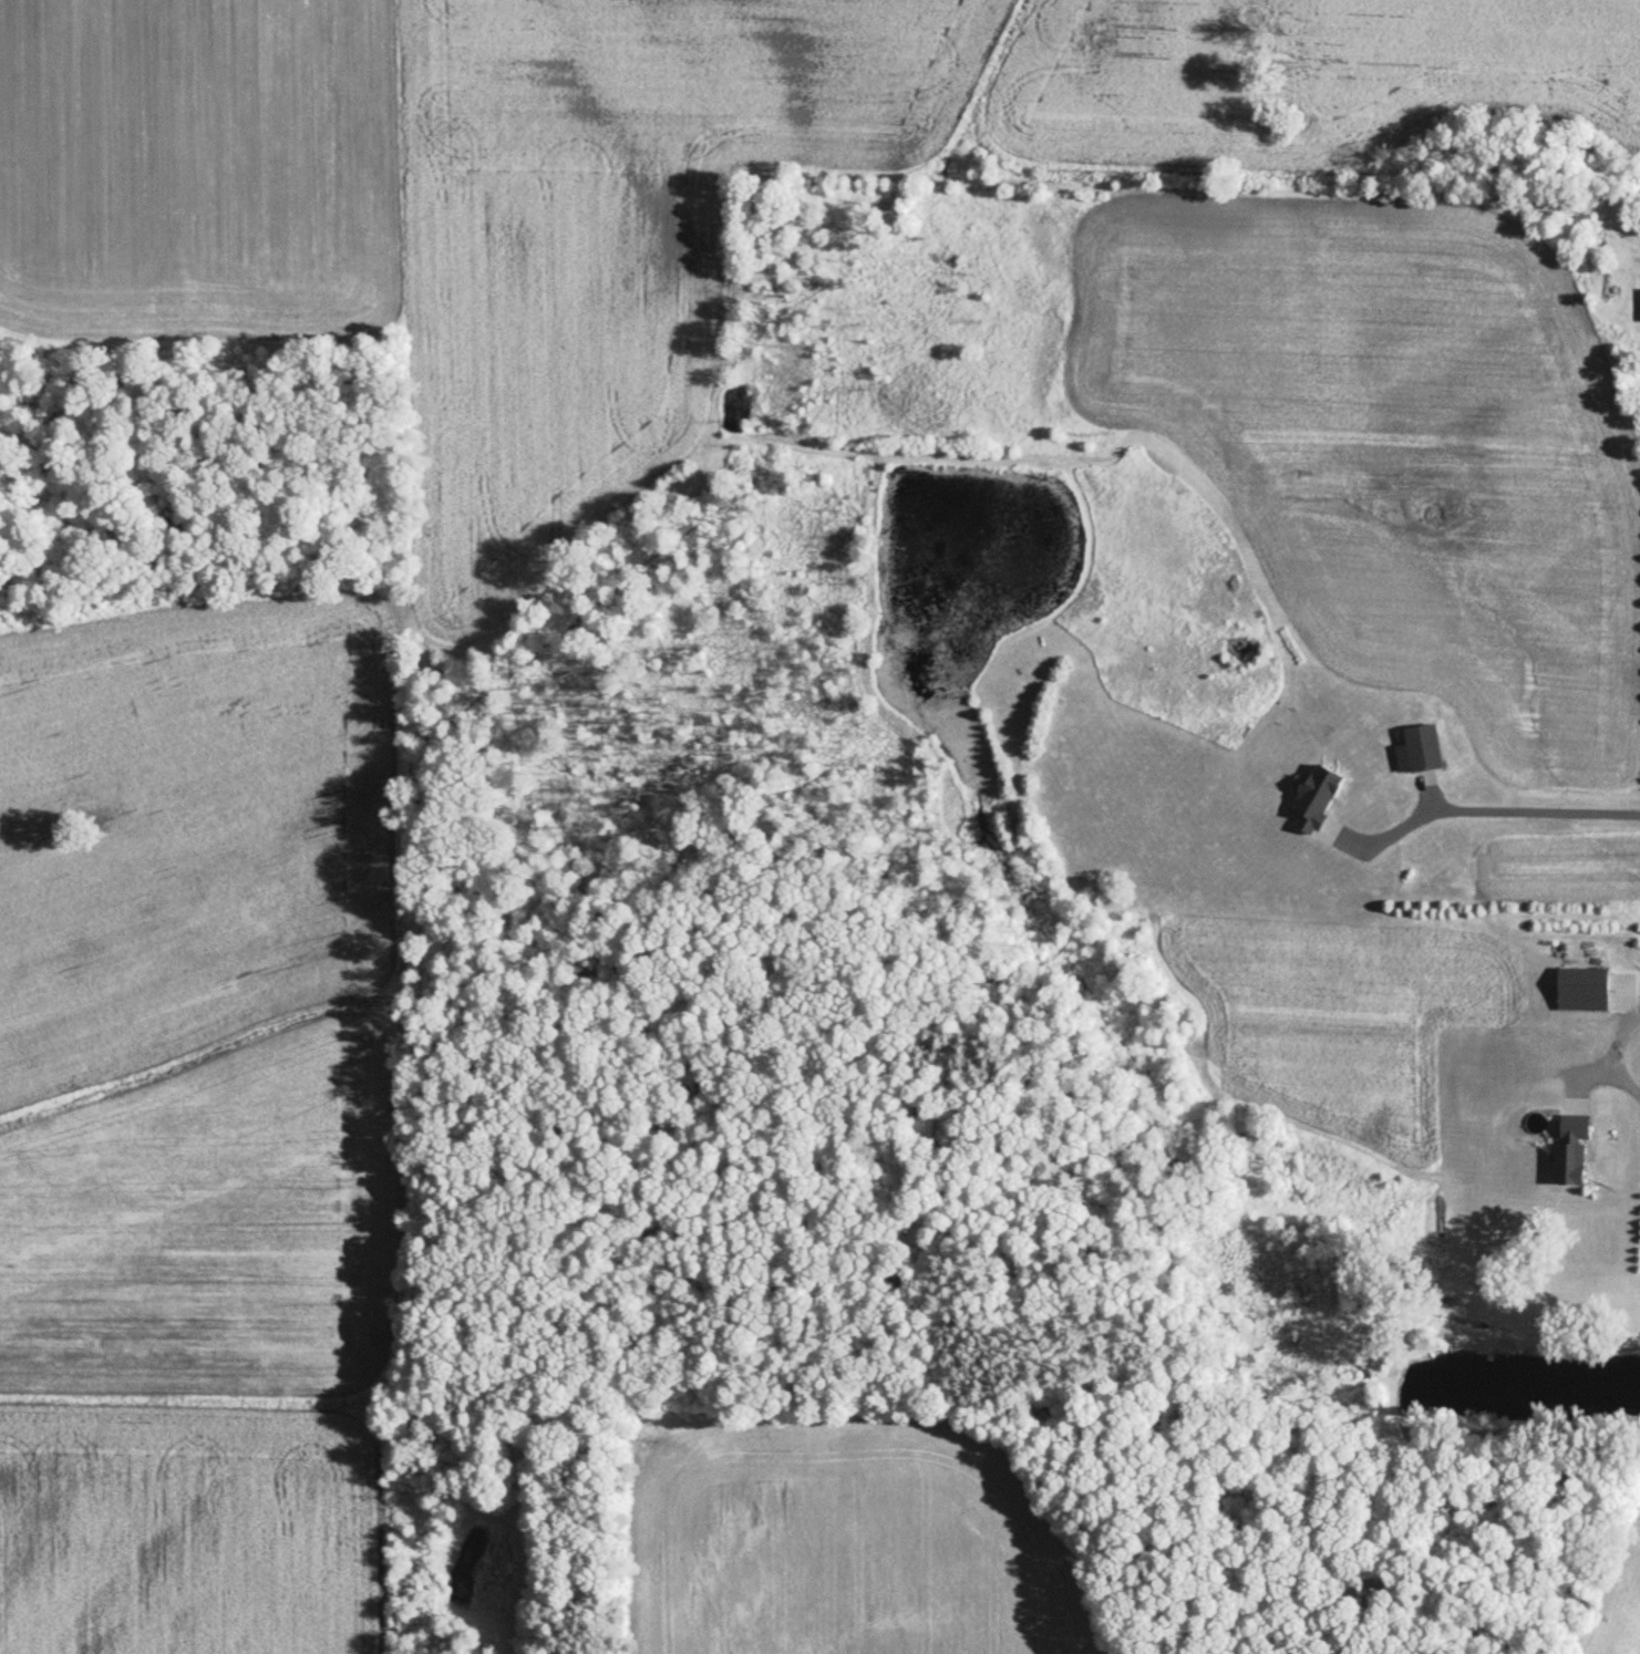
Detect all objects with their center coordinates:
building: (1427, 753)
building: (1319, 796)
road: (1485, 806)
building: (1586, 989)
road: (1616, 1057)
building: (1571, 1102)
building: (1575, 1149)

